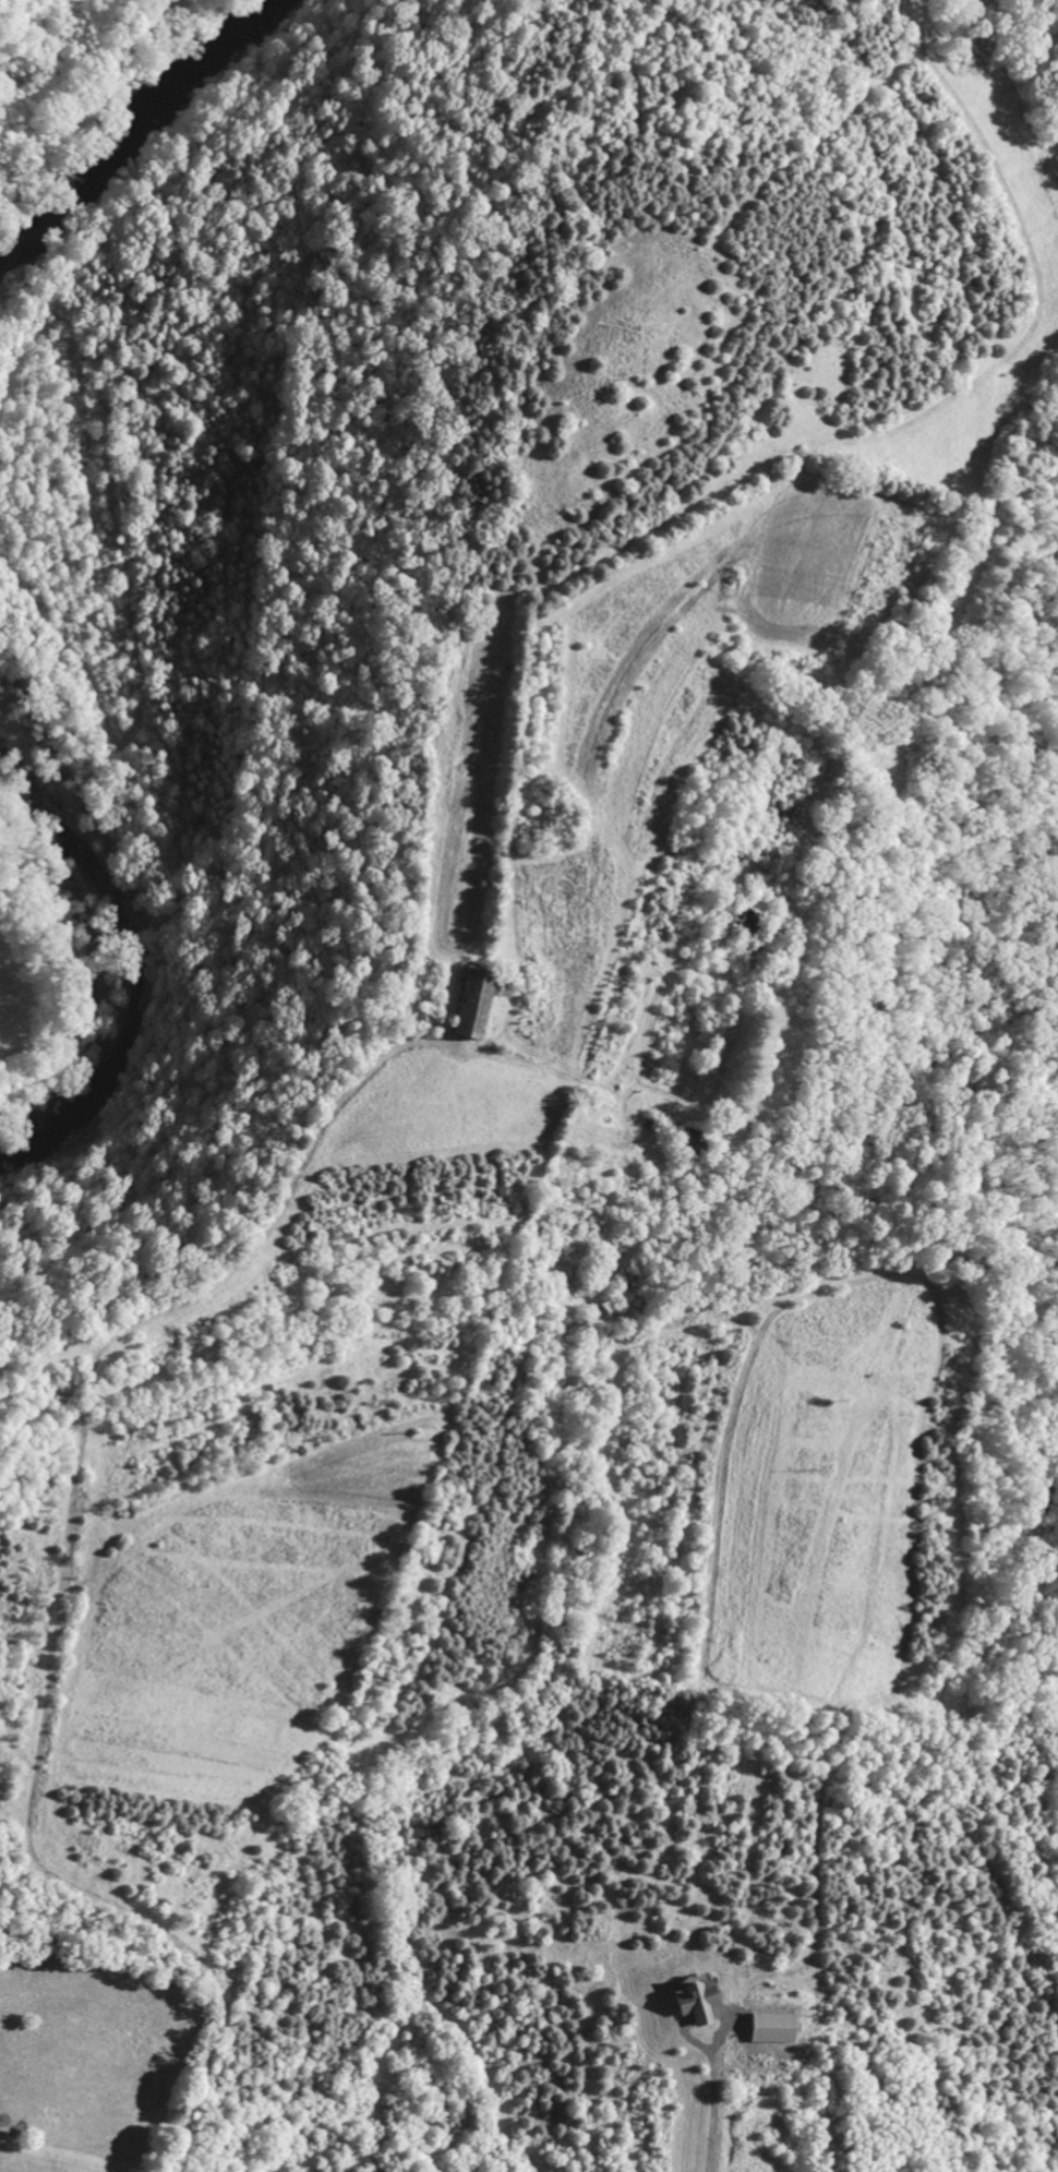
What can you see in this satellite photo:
river: (130, 121)
river: (119, 952)
building: (479, 1004)
building: (699, 2001)
building: (777, 2028)
road: (712, 2097)

